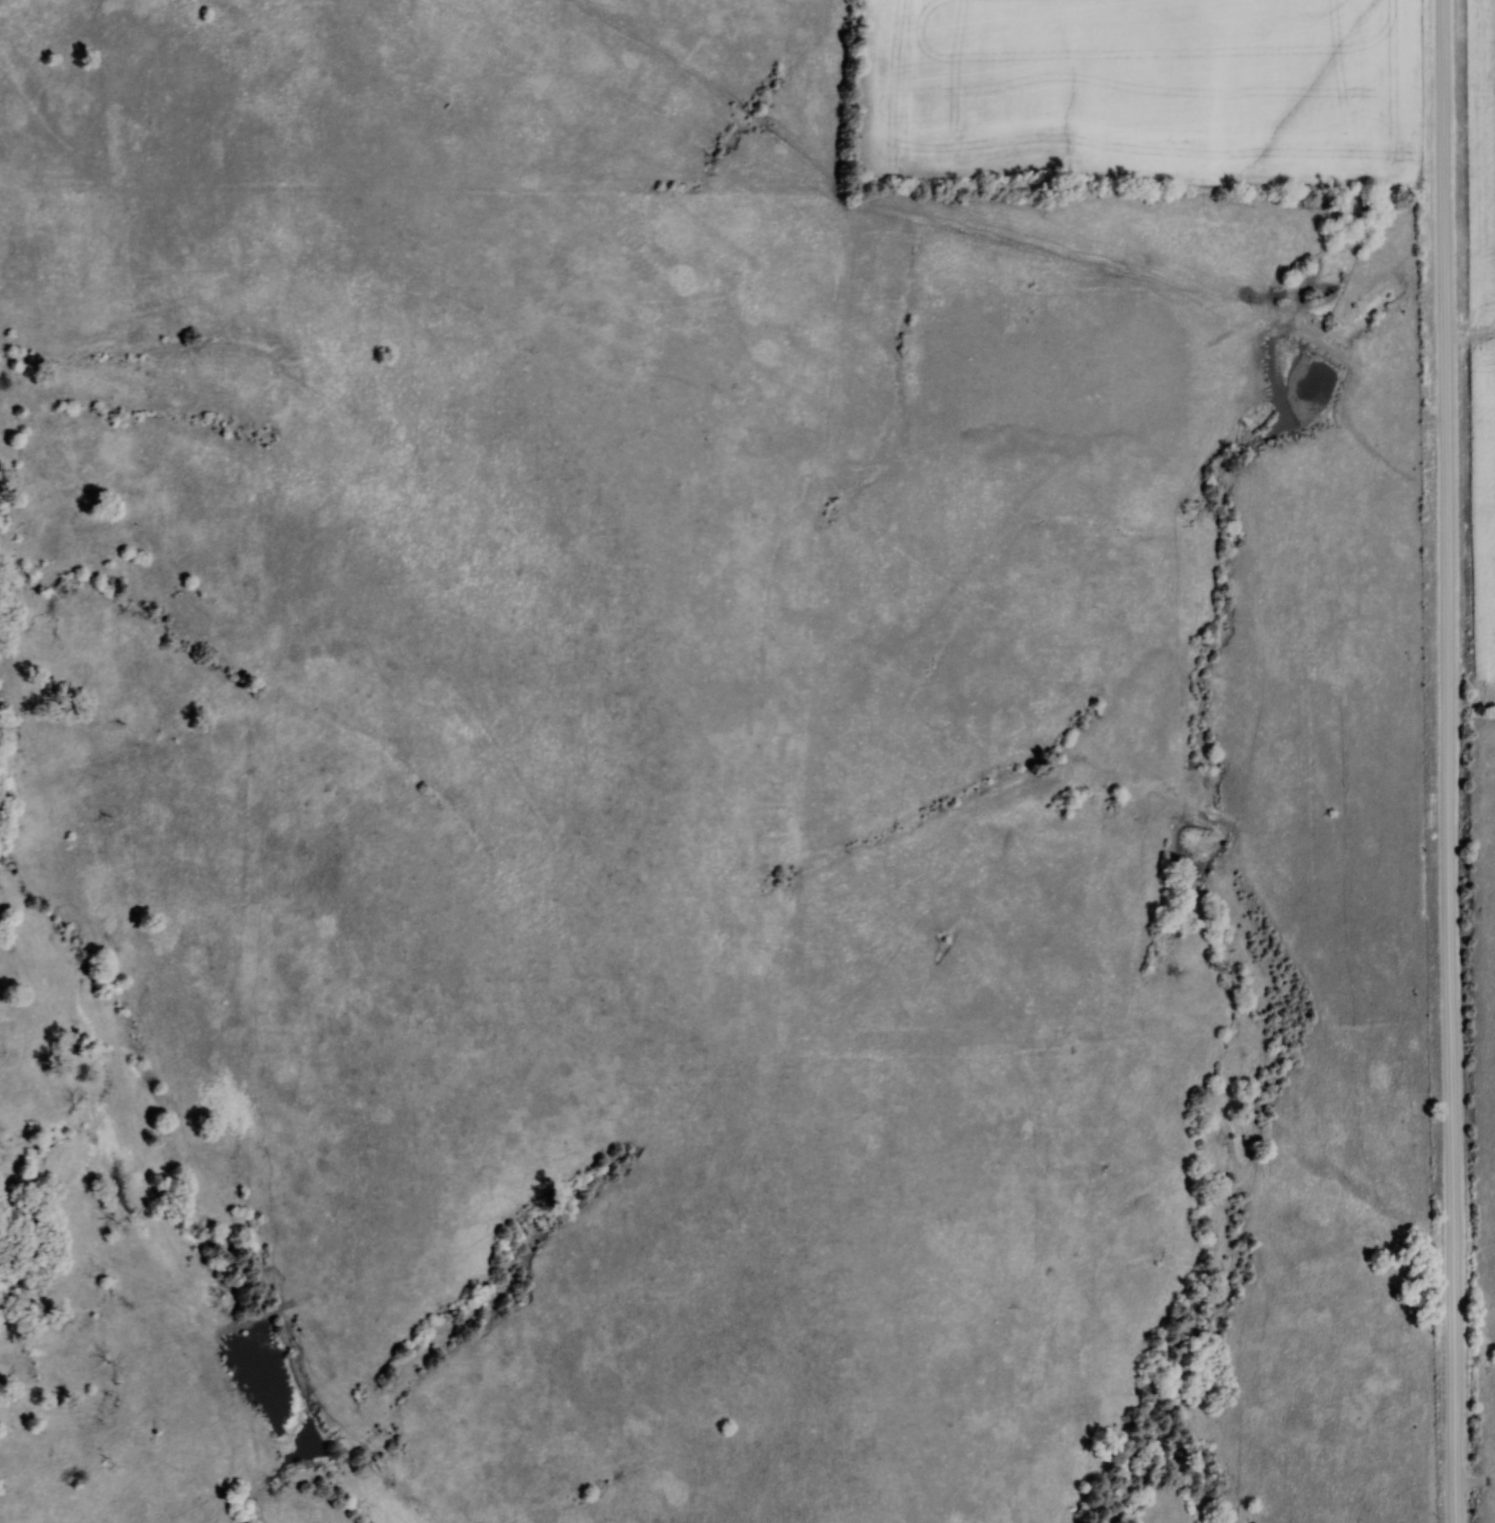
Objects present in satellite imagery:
road: (1448, 761)

